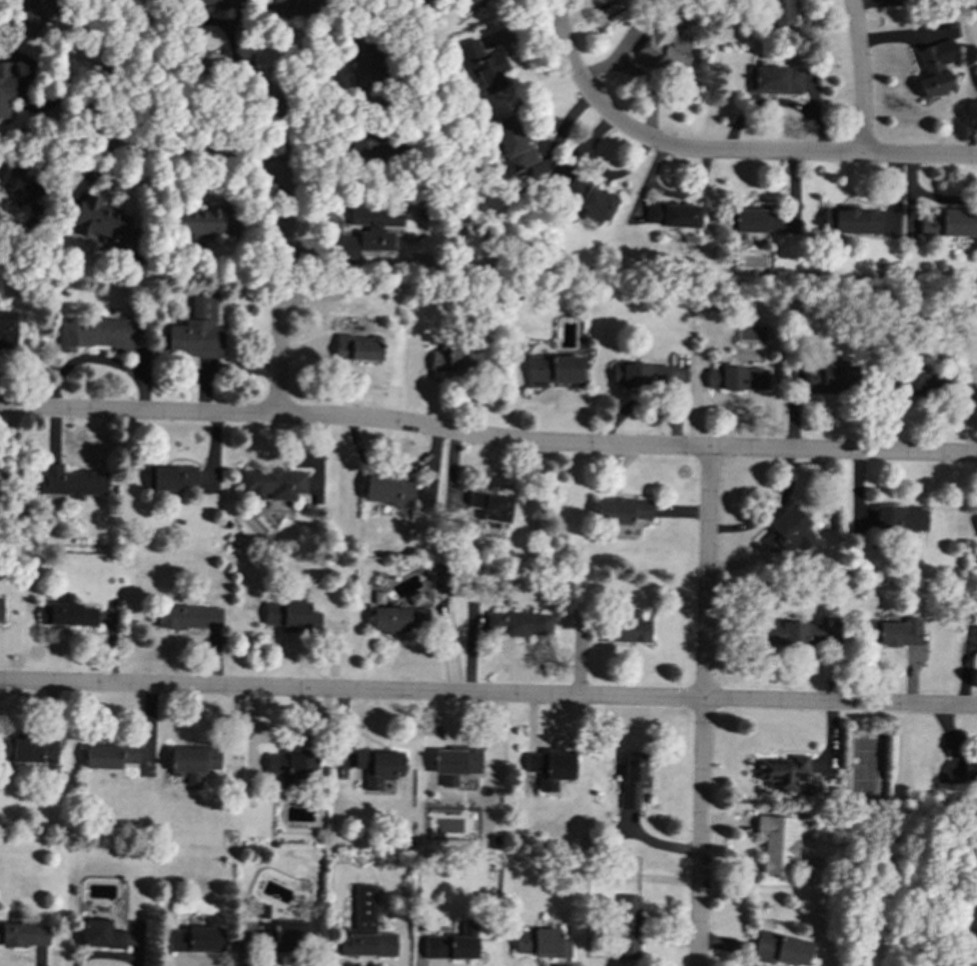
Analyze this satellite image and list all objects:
building: (215, 3)
building: (470, 4)
building: (293, 7)
building: (780, 12)
building: (32, 14)
building: (663, 43)
road: (149, 63)
building: (362, 63)
building: (483, 65)
building: (934, 67)
road: (861, 76)
building: (775, 80)
building: (5, 86)
building: (512, 143)
building: (366, 146)
road: (723, 151)
building: (17, 181)
building: (589, 199)
building: (672, 215)
building: (755, 219)
building: (200, 220)
building: (850, 220)
building: (100, 223)
building: (949, 224)
building: (369, 230)
road: (281, 293)
building: (7, 330)
building: (94, 333)
building: (192, 338)
building: (357, 348)
building: (455, 360)
building: (554, 369)
building: (639, 375)
building: (735, 378)
building: (830, 378)
building: (921, 384)
road: (487, 438)
building: (169, 477)
building: (71, 482)
building: (273, 484)
building: (387, 490)
building: (491, 505)
building: (620, 510)
building: (900, 517)
building: (785, 528)
building: (0, 608)
building: (67, 612)
building: (290, 615)
building: (188, 616)
building: (400, 616)
building: (519, 623)
building: (629, 628)
building: (790, 633)
building: (893, 633)
road: (488, 695)
road: (702, 707)
building: (28, 748)
building: (110, 756)
building: (192, 762)
building: (455, 764)
building: (290, 766)
building: (378, 766)
building: (550, 767)
building: (965, 769)
building: (781, 772)
building: (631, 778)
building: (776, 843)
building: (363, 909)
building: (261, 912)
building: (627, 927)
building: (100, 934)
building: (24, 935)
building: (288, 937)
building: (196, 939)
building: (540, 942)
building: (456, 944)
building: (366, 945)
building: (975, 948)
building: (779, 949)

